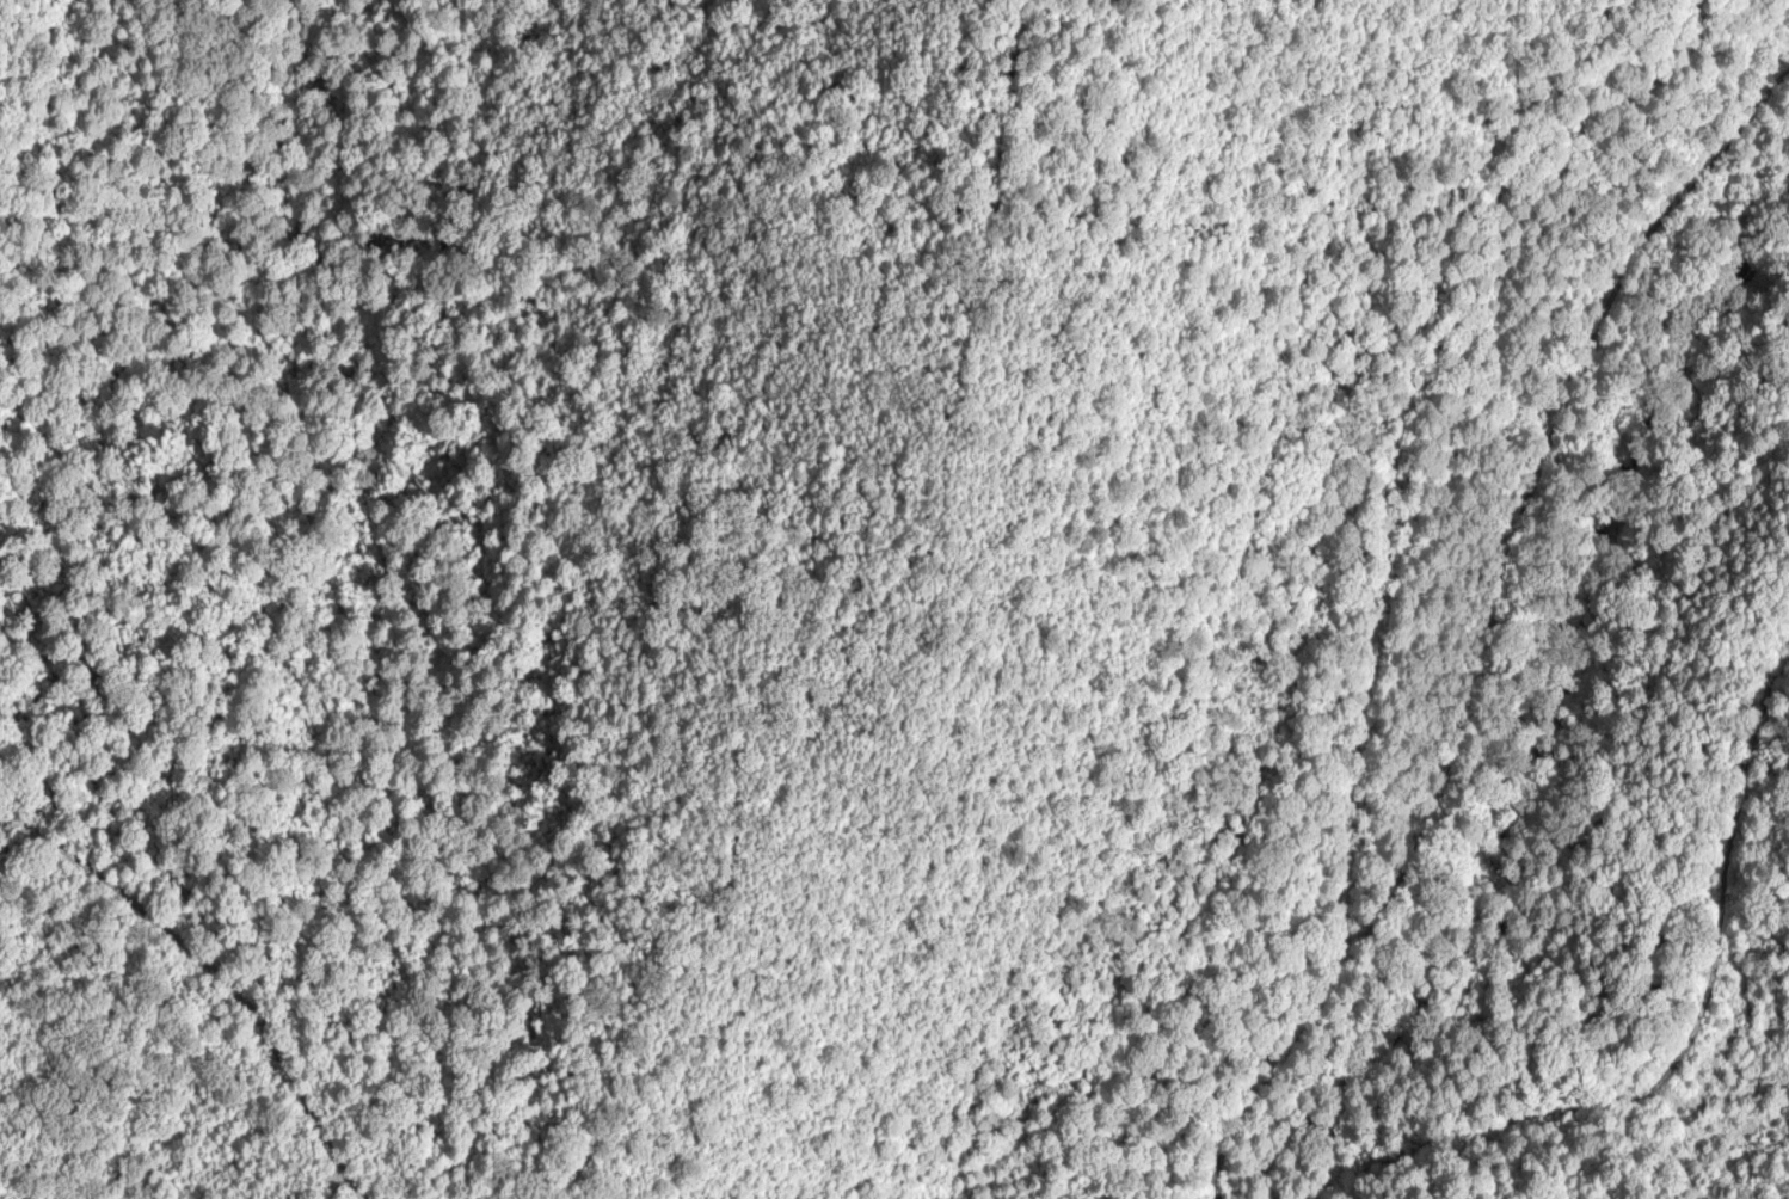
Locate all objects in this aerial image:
road: (207, 976)

